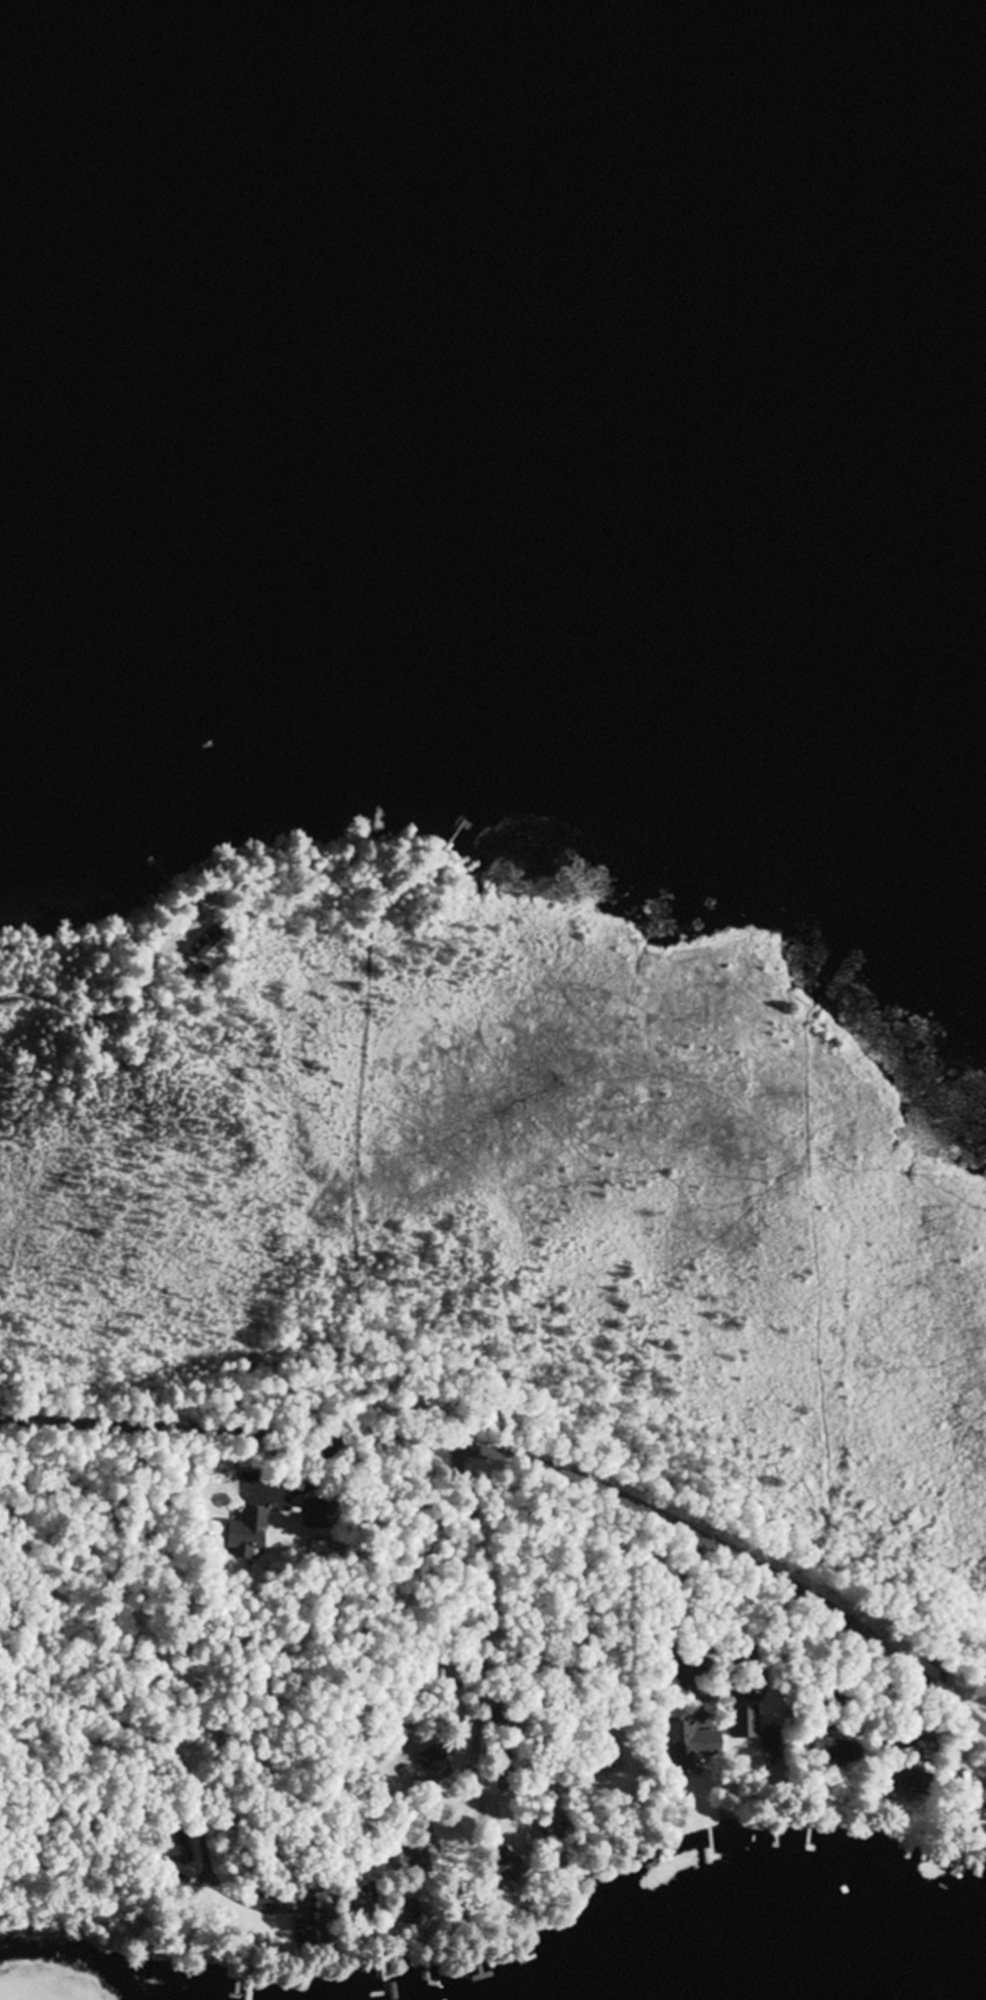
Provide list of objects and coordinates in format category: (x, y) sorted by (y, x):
road: (527, 1456)
building: (313, 1516)
building: (240, 1537)
road: (98, 1725)
building: (677, 1747)
building: (823, 1750)
building: (613, 1752)
building: (427, 1760)
building: (898, 1780)
building: (179, 1850)
building: (407, 1864)
building: (498, 1874)
building: (343, 1899)
building: (402, 1913)
building: (296, 1929)

